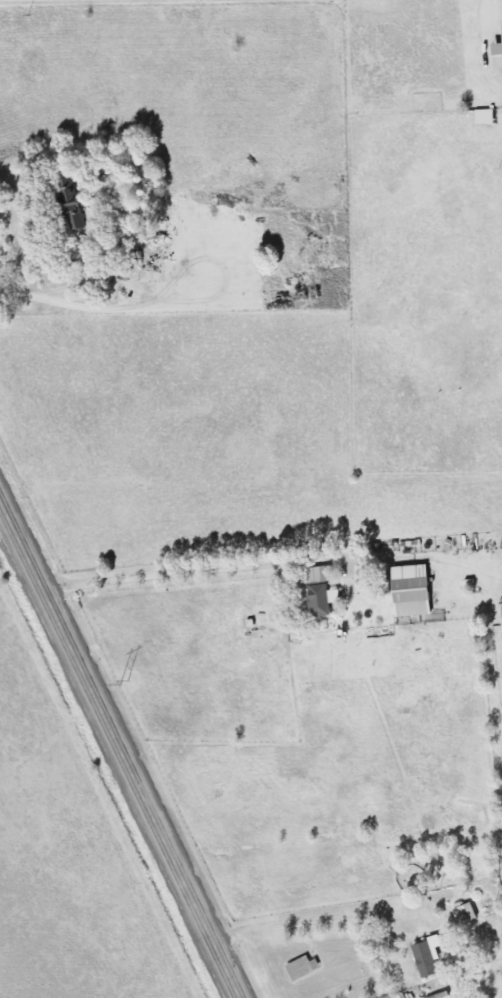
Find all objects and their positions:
building: (64, 202)
road: (57, 283)
road: (180, 566)
building: (404, 590)
building: (314, 591)
building: (498, 616)
power tower: (123, 682)
road: (119, 751)
building: (460, 912)
building: (482, 913)
road: (306, 914)
building: (418, 959)
building: (297, 966)

